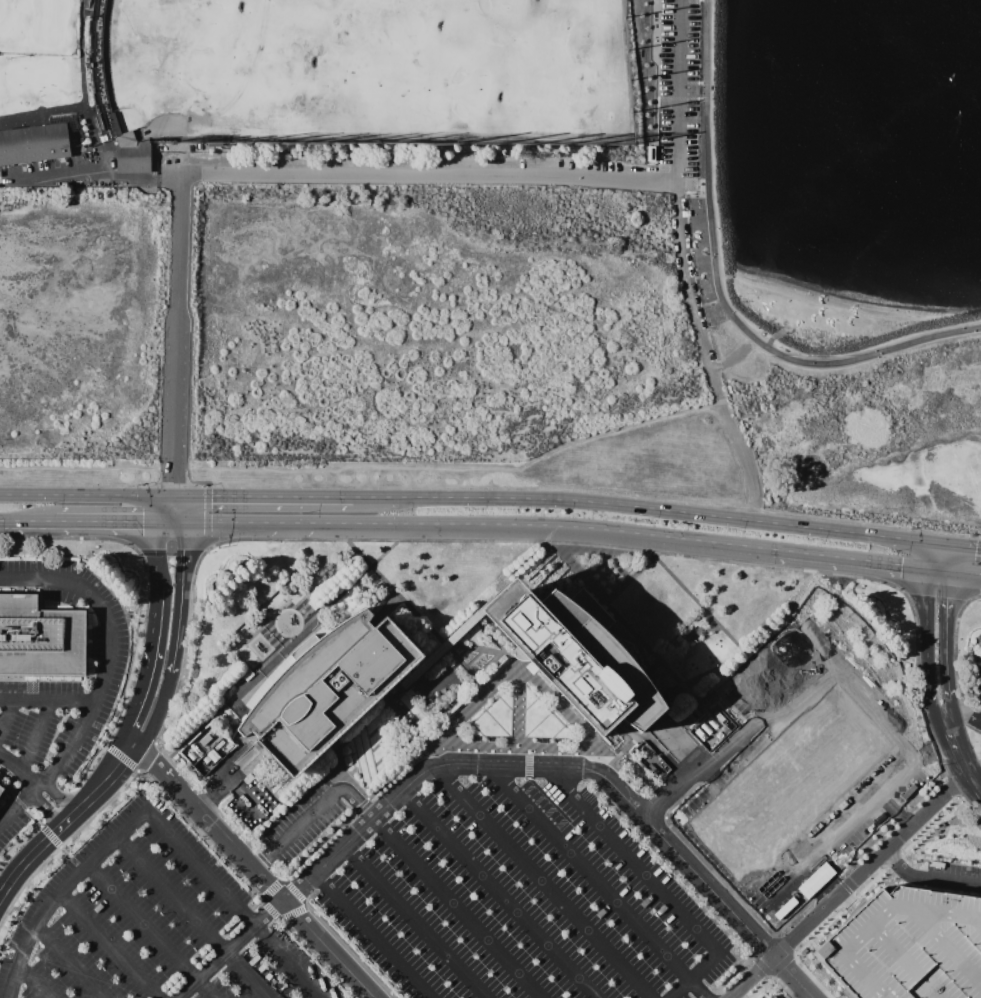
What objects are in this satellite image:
park: (308, 82)
road: (681, 90)
parking lot: (678, 93)
park: (682, 124)
road: (31, 126)
building: (34, 146)
building: (131, 155)
road: (431, 173)
road: (99, 174)
road: (178, 336)
road: (87, 496)
road: (264, 497)
road: (164, 510)
road: (179, 510)
road: (667, 511)
road: (206, 517)
road: (3, 521)
road: (31, 522)
road: (104, 523)
road: (168, 524)
road: (197, 524)
road: (243, 524)
road: (294, 524)
road: (485, 524)
road: (521, 541)
road: (171, 546)
road: (792, 552)
road: (381, 554)
road: (541, 554)
road: (936, 557)
road: (947, 558)
road: (635, 571)
road: (954, 572)
road: (932, 588)
road: (155, 594)
road: (101, 599)
road: (180, 600)
road: (700, 605)
road: (414, 614)
road: (139, 615)
road: (928, 629)
road: (955, 630)
building: (40, 639)
road: (947, 646)
building: (577, 655)
park: (775, 677)
parking lot: (52, 678)
road: (10, 679)
road: (408, 680)
building: (329, 689)
road: (685, 690)
road: (932, 697)
road: (958, 700)
road: (46, 701)
road: (136, 704)
road: (517, 706)
road: (938, 712)
road: (6, 714)
road: (157, 714)
road: (962, 715)
road: (410, 722)
road: (972, 728)
road: (33, 736)
road: (572, 746)
road: (68, 747)
road: (954, 747)
road: (604, 754)
road: (333, 758)
road: (526, 763)
road: (406, 766)
road: (543, 767)
road: (975, 771)
road: (18, 772)
road: (126, 780)
road: (678, 782)
road: (108, 783)
building: (788, 783)
road: (975, 783)
road: (952, 784)
road: (11, 785)
road: (218, 785)
road: (263, 786)
building: (0, 787)
building: (1, 791)
road: (303, 794)
road: (58, 798)
road: (205, 798)
road: (356, 803)
road: (18, 804)
road: (969, 807)
road: (45, 808)
road: (862, 812)
road: (458, 816)
road: (305, 819)
parking lot: (306, 821)
road: (69, 822)
road: (210, 823)
road: (890, 823)
road: (419, 826)
road: (235, 832)
road: (50, 836)
road: (17, 842)
road: (904, 842)
road: (691, 850)
road: (262, 859)
road: (262, 860)
road: (28, 861)
road: (872, 866)
road: (615, 867)
road: (276, 873)
road: (914, 873)
road: (823, 881)
road: (394, 882)
road: (825, 886)
road: (270, 888)
road: (58, 891)
road: (528, 892)
road: (232, 904)
road: (843, 904)
road: (297, 911)
road: (193, 917)
road: (792, 917)
parking lot: (149, 924)
road: (151, 930)
road: (810, 935)
building: (907, 942)
parking garage: (907, 942)
road: (106, 946)
road: (208, 948)
road: (581, 948)
road: (233, 950)
road: (329, 950)
road: (348, 952)
road: (753, 957)
road: (316, 958)
road: (790, 958)
road: (67, 964)
road: (536, 964)
road: (733, 976)
road: (794, 977)
road: (811, 977)
road: (754, 978)
road: (29, 985)
road: (755, 985)
road: (782, 987)
road: (621, 995)
building: (773, 996)

